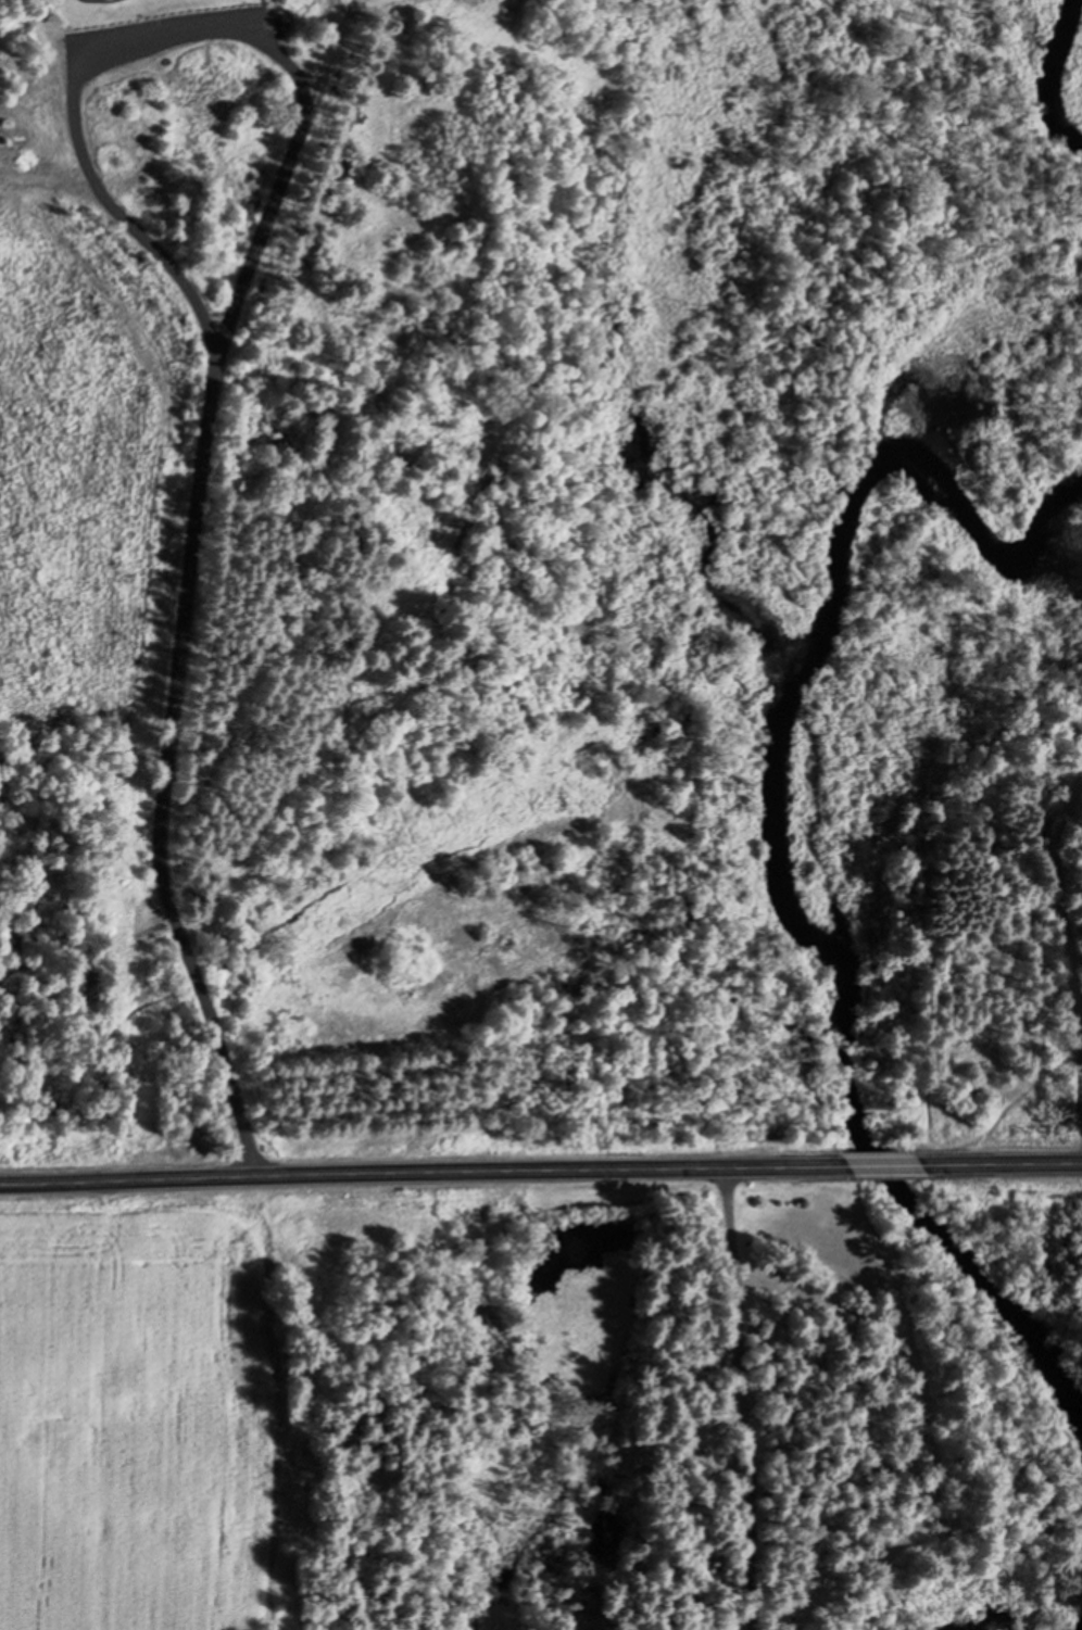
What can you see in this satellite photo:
road: (288, 179)
road: (176, 787)
road: (884, 1164)
road: (999, 1164)
road: (425, 1166)

